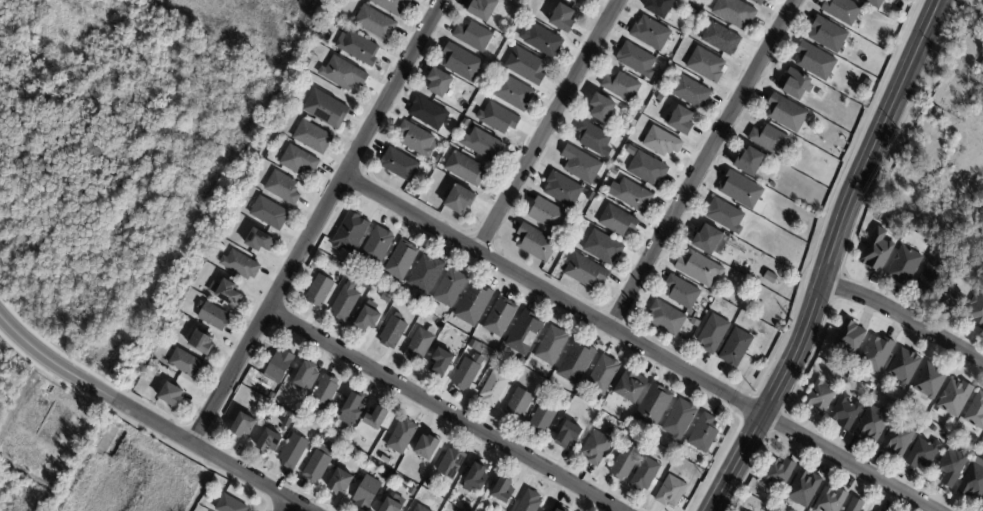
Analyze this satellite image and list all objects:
building: (512, 0)
building: (580, 0)
building: (587, 0)
building: (888, 0)
building: (889, 0)
building: (573, 1)
building: (757, 2)
building: (874, 3)
building: (392, 6)
building: (659, 8)
building: (482, 10)
building: (842, 11)
building: (734, 13)
building: (562, 19)
building: (375, 24)
building: (650, 34)
building: (828, 35)
building: (473, 37)
building: (721, 40)
building: (541, 41)
building: (358, 49)
building: (636, 61)
building: (815, 62)
building: (461, 63)
building: (982, 65)
building: (706, 66)
building: (525, 67)
building: (342, 75)
building: (438, 84)
building: (795, 85)
building: (866, 85)
building: (621, 87)
building: (691, 93)
building: (512, 94)
building: (660, 98)
building: (601, 108)
building: (325, 110)
building: (427, 113)
building: (786, 114)
building: (497, 119)
building: (680, 122)
building: (632, 124)
road: (549, 125)
building: (594, 137)
building: (312, 138)
building: (770, 140)
building: (416, 141)
building: (662, 143)
building: (484, 146)
building: (631, 149)
building: (296, 161)
road: (704, 163)
building: (749, 163)
building: (580, 164)
building: (399, 165)
building: (647, 168)
building: (466, 170)
building: (614, 172)
building: (282, 188)
building: (562, 189)
building: (743, 193)
building: (633, 195)
building: (458, 201)
building: (269, 214)
building: (547, 214)
building: (725, 214)
building: (618, 221)
road: (319, 222)
building: (350, 232)
building: (708, 238)
building: (258, 242)
building: (535, 242)
building: (930, 244)
building: (377, 245)
building: (603, 247)
building: (877, 250)
building: (940, 251)
road: (829, 257)
building: (401, 260)
building: (552, 261)
building: (904, 265)
building: (239, 266)
building: (699, 268)
building: (585, 271)
building: (425, 273)
building: (764, 276)
building: (929, 278)
building: (380, 280)
building: (364, 283)
building: (450, 287)
building: (319, 290)
building: (682, 291)
building: (226, 294)
building: (385, 297)
building: (953, 299)
building: (344, 301)
building: (473, 303)
building: (976, 309)
road: (904, 314)
building: (500, 316)
building: (666, 317)
building: (212, 318)
building: (366, 320)
building: (695, 322)
building: (192, 324)
building: (392, 331)
building: (524, 333)
building: (713, 333)
building: (850, 337)
building: (202, 343)
road: (639, 343)
building: (473, 344)
building: (551, 345)
building: (418, 346)
building: (736, 347)
building: (878, 352)
building: (763, 360)
building: (576, 362)
building: (441, 363)
road: (54, 364)
building: (185, 365)
building: (904, 365)
building: (279, 366)
building: (467, 372)
building: (603, 374)
building: (305, 376)
building: (930, 380)
building: (630, 385)
building: (493, 388)
building: (580, 389)
building: (324, 390)
building: (171, 396)
building: (820, 396)
building: (954, 398)
building: (518, 404)
building: (653, 405)
building: (351, 409)
road: (443, 411)
building: (846, 411)
building: (976, 412)
building: (543, 416)
building: (376, 418)
building: (679, 419)
building: (873, 424)
building: (242, 427)
building: (329, 427)
building: (322, 434)
building: (703, 434)
building: (568, 435)
building: (402, 436)
building: (899, 438)
building: (269, 442)
building: (598, 446)
building: (427, 447)
building: (292, 451)
building: (347, 451)
building: (923, 453)
road: (211, 456)
building: (625, 460)
building: (317, 464)
building: (450, 464)
building: (952, 466)
building: (778, 474)
building: (645, 475)
building: (476, 476)
building: (974, 481)
building: (340, 482)
building: (430, 482)
building: (750, 485)
building: (803, 488)
building: (502, 489)
building: (749, 490)
building: (412, 491)
building: (671, 491)
building: (366, 493)
building: (830, 500)
building: (529, 502)
building: (229, 504)
building: (466, 504)
building: (855, 504)
building: (391, 506)
road: (288, 507)
building: (982, 507)
building: (420, 508)
building: (560, 509)
building: (548, 510)
building: (743, 510)

